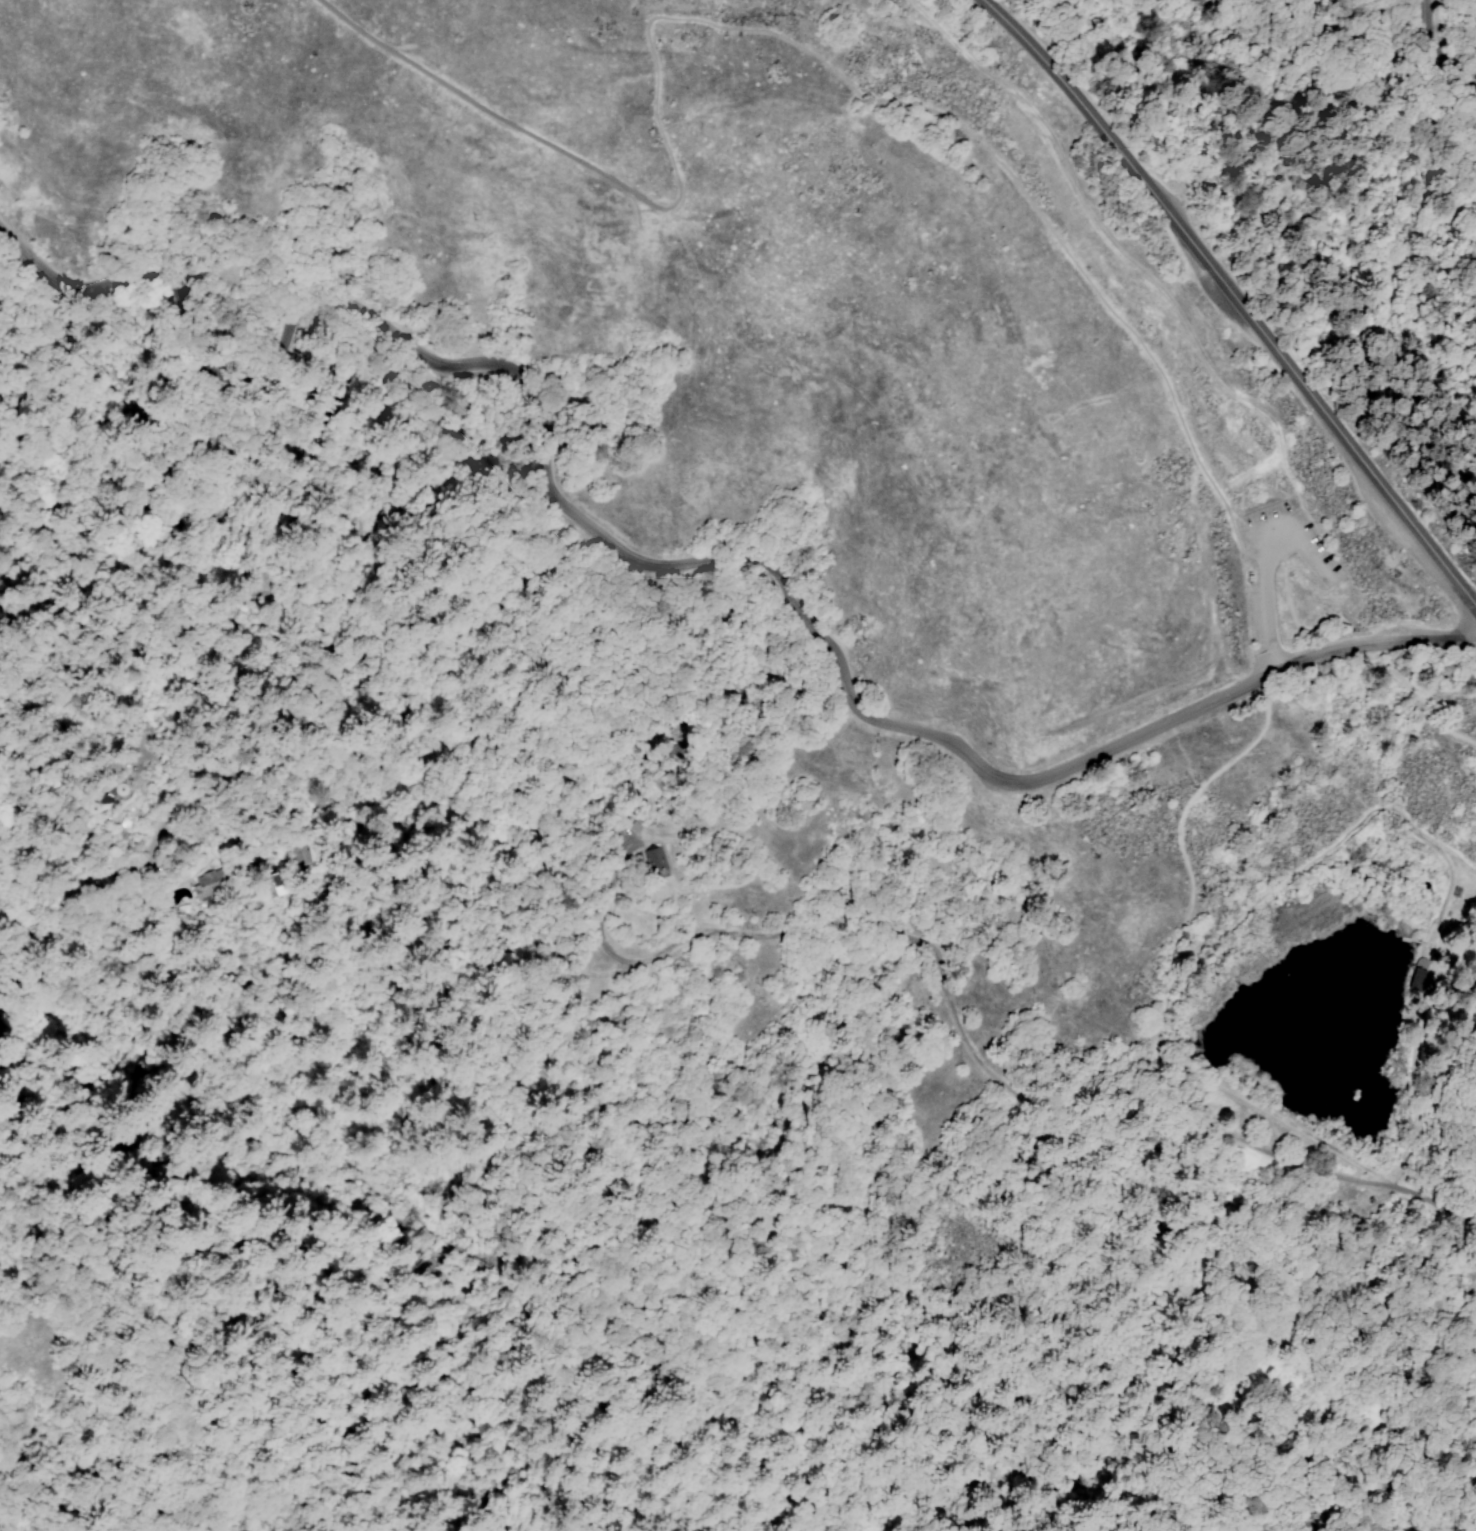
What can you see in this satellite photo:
road: (1440, 52)
road: (933, 113)
road: (490, 114)
road: (1236, 297)
road: (582, 520)
road: (1256, 541)
road: (1306, 577)
parking lot: (1331, 578)
road: (1267, 609)
road: (40, 624)
road: (1301, 629)
road: (1375, 644)
road: (363, 666)
road: (1268, 674)
road: (1422, 703)
road: (1177, 834)
road: (1335, 842)
building: (653, 861)
building: (209, 881)
road: (1261, 902)
road: (1456, 928)
road: (1429, 931)
road: (600, 938)
road: (1407, 940)
road: (1420, 942)
road: (1424, 958)
building: (1418, 978)
road: (942, 988)
road: (1158, 1026)
road: (1413, 1074)
road: (1179, 1087)
road: (1434, 1092)
road: (1274, 1115)
road: (779, 1141)
road: (1303, 1168)
road: (1436, 1202)
road: (1449, 1304)
road: (1462, 1315)
road: (1455, 1485)

